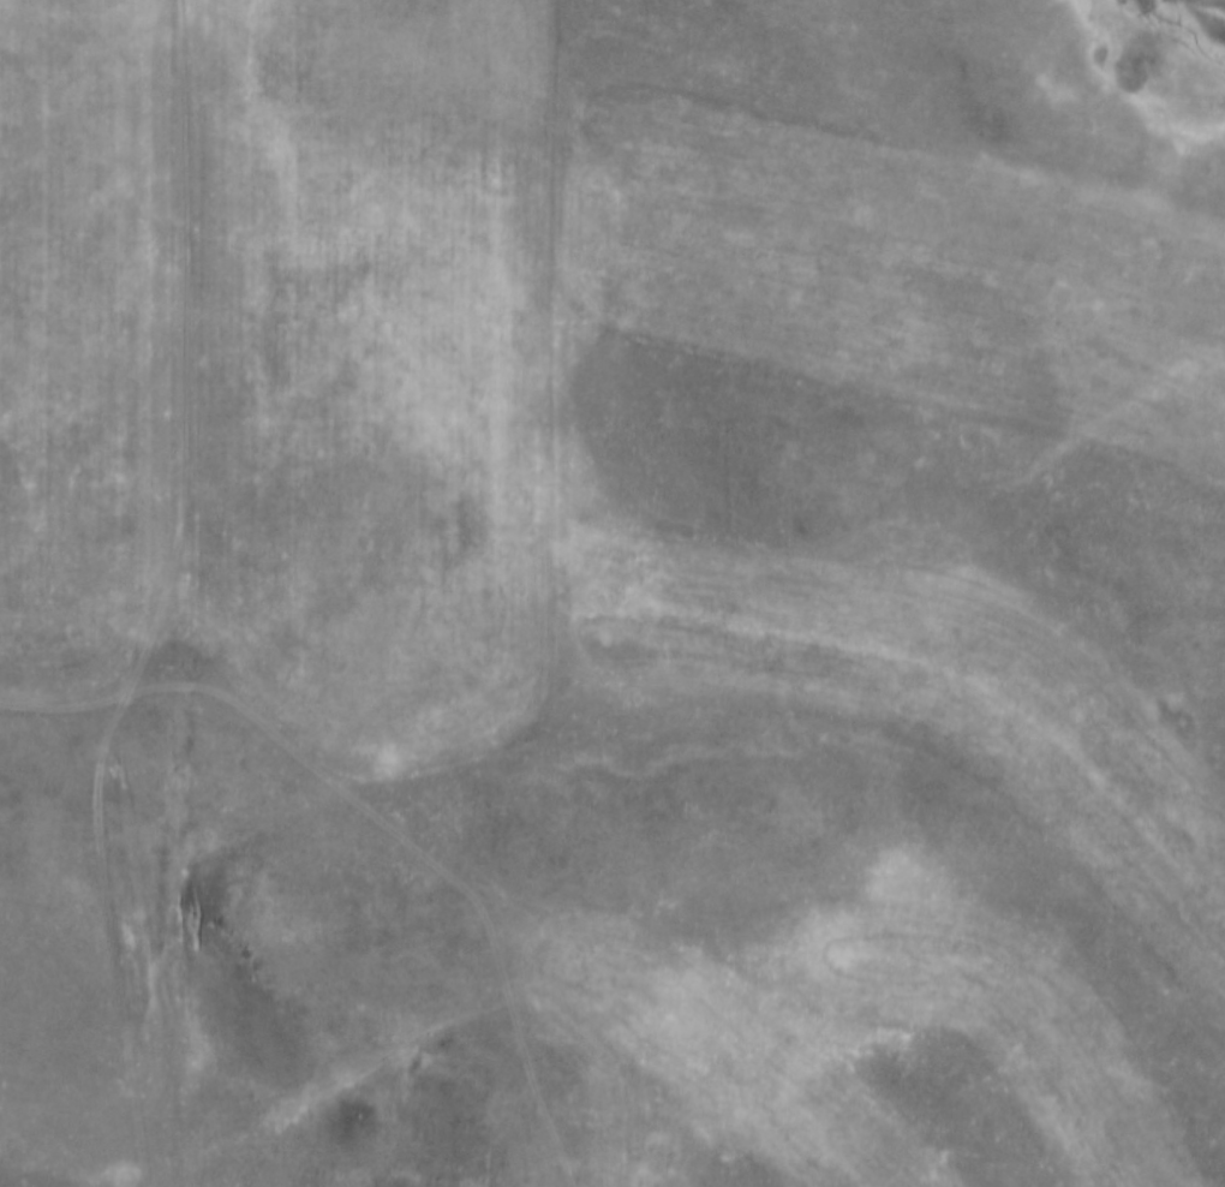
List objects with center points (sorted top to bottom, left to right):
road: (166, 600)
road: (289, 748)

